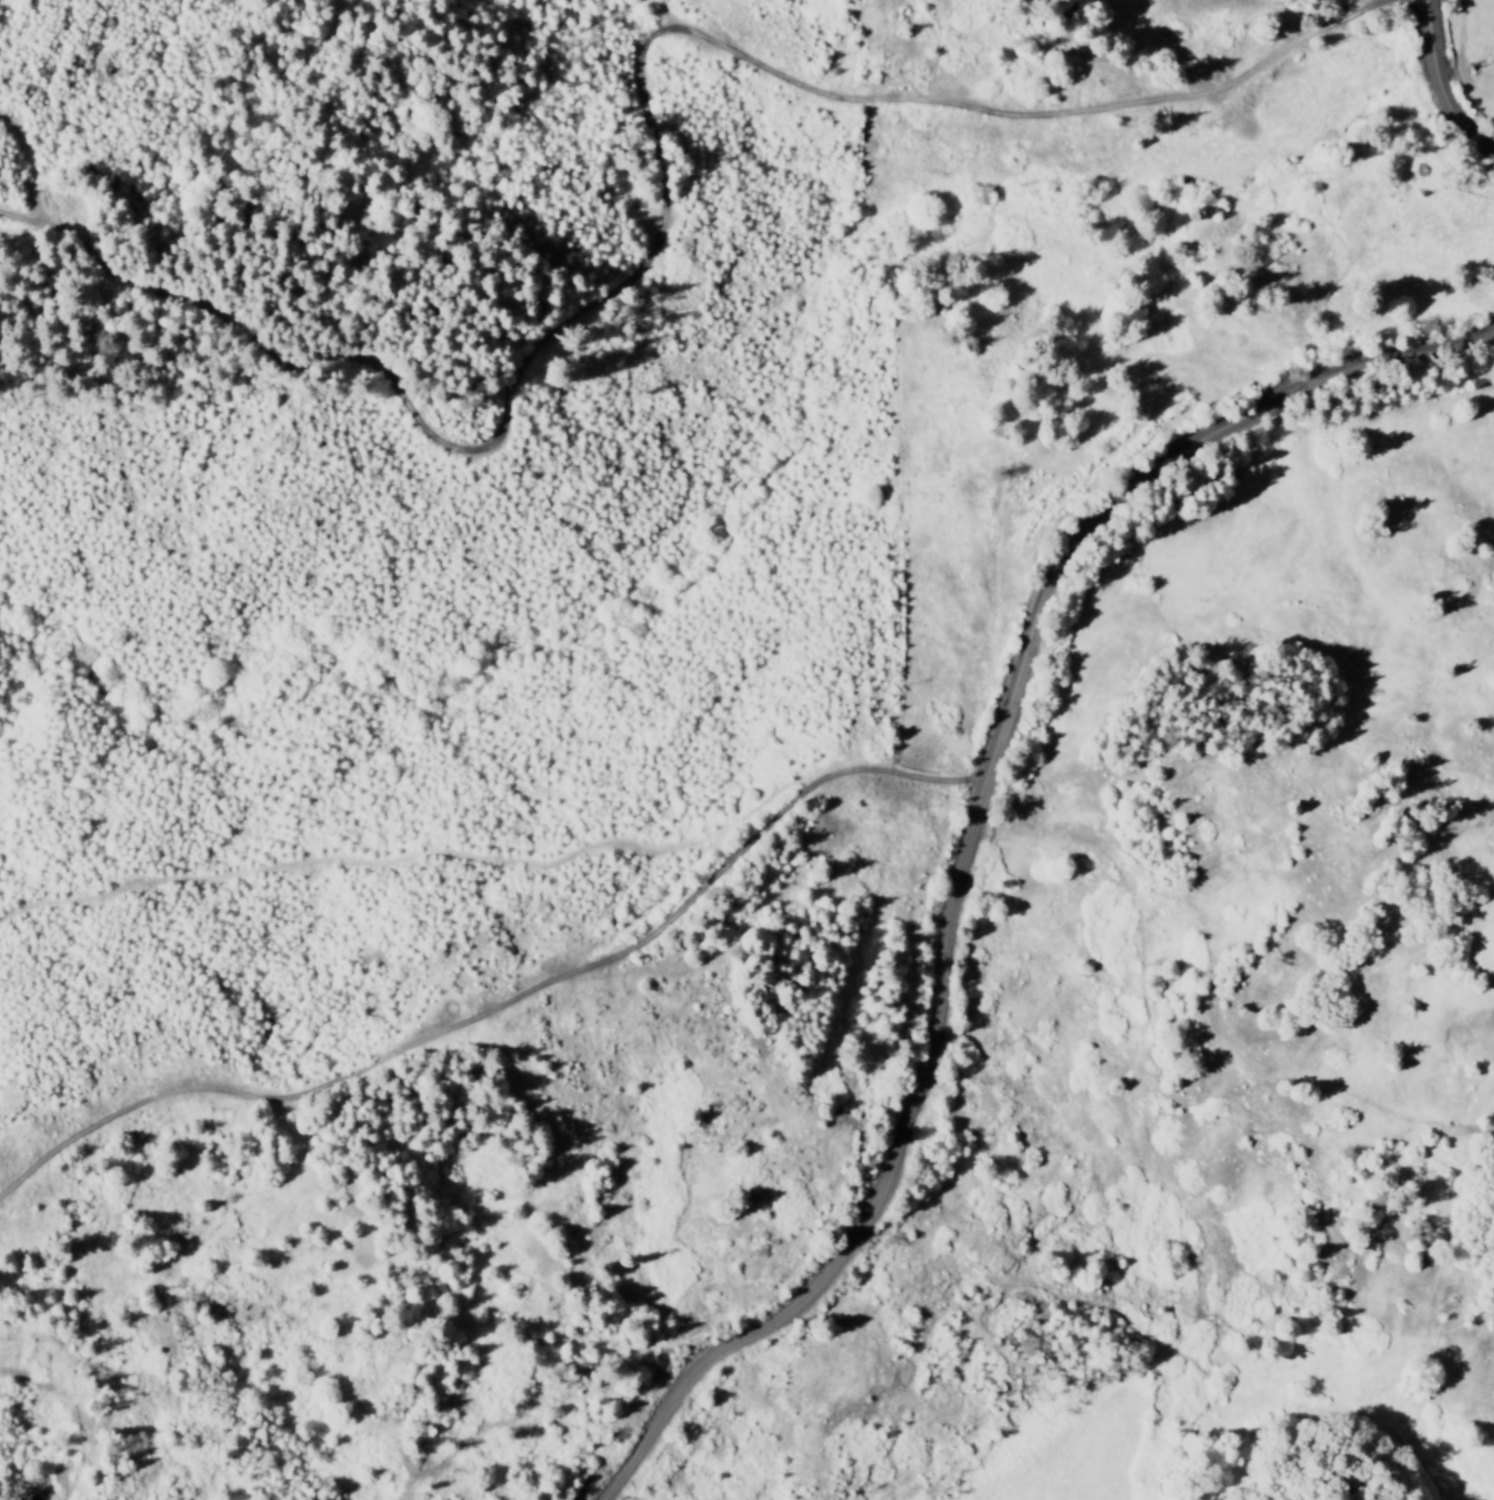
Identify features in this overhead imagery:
road: (1436, 86)
road: (657, 162)
road: (968, 833)
road: (506, 1002)

